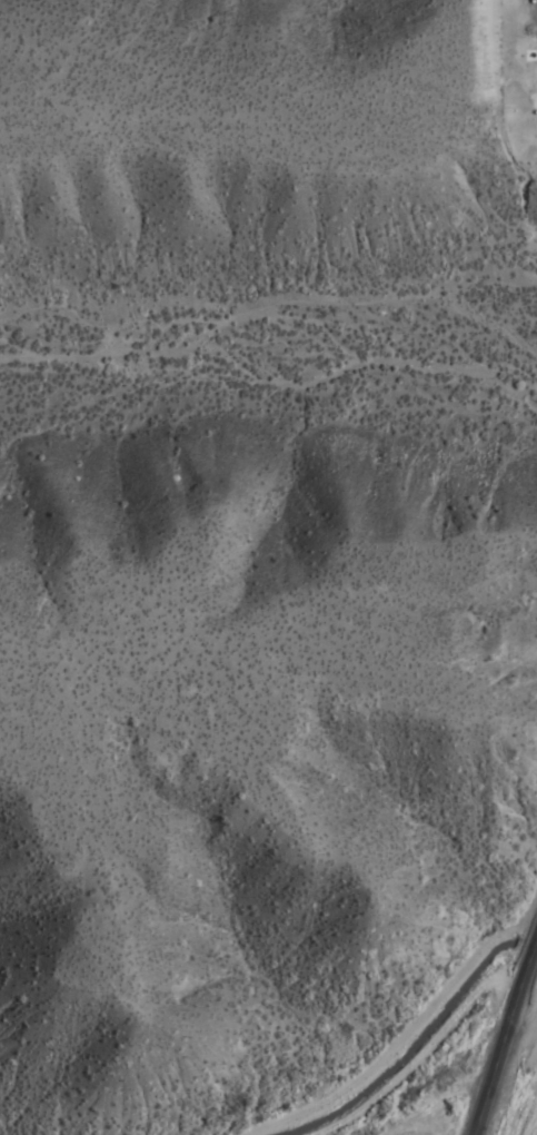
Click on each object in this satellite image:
road: (496, 1018)
road: (392, 1040)
road: (412, 1059)

